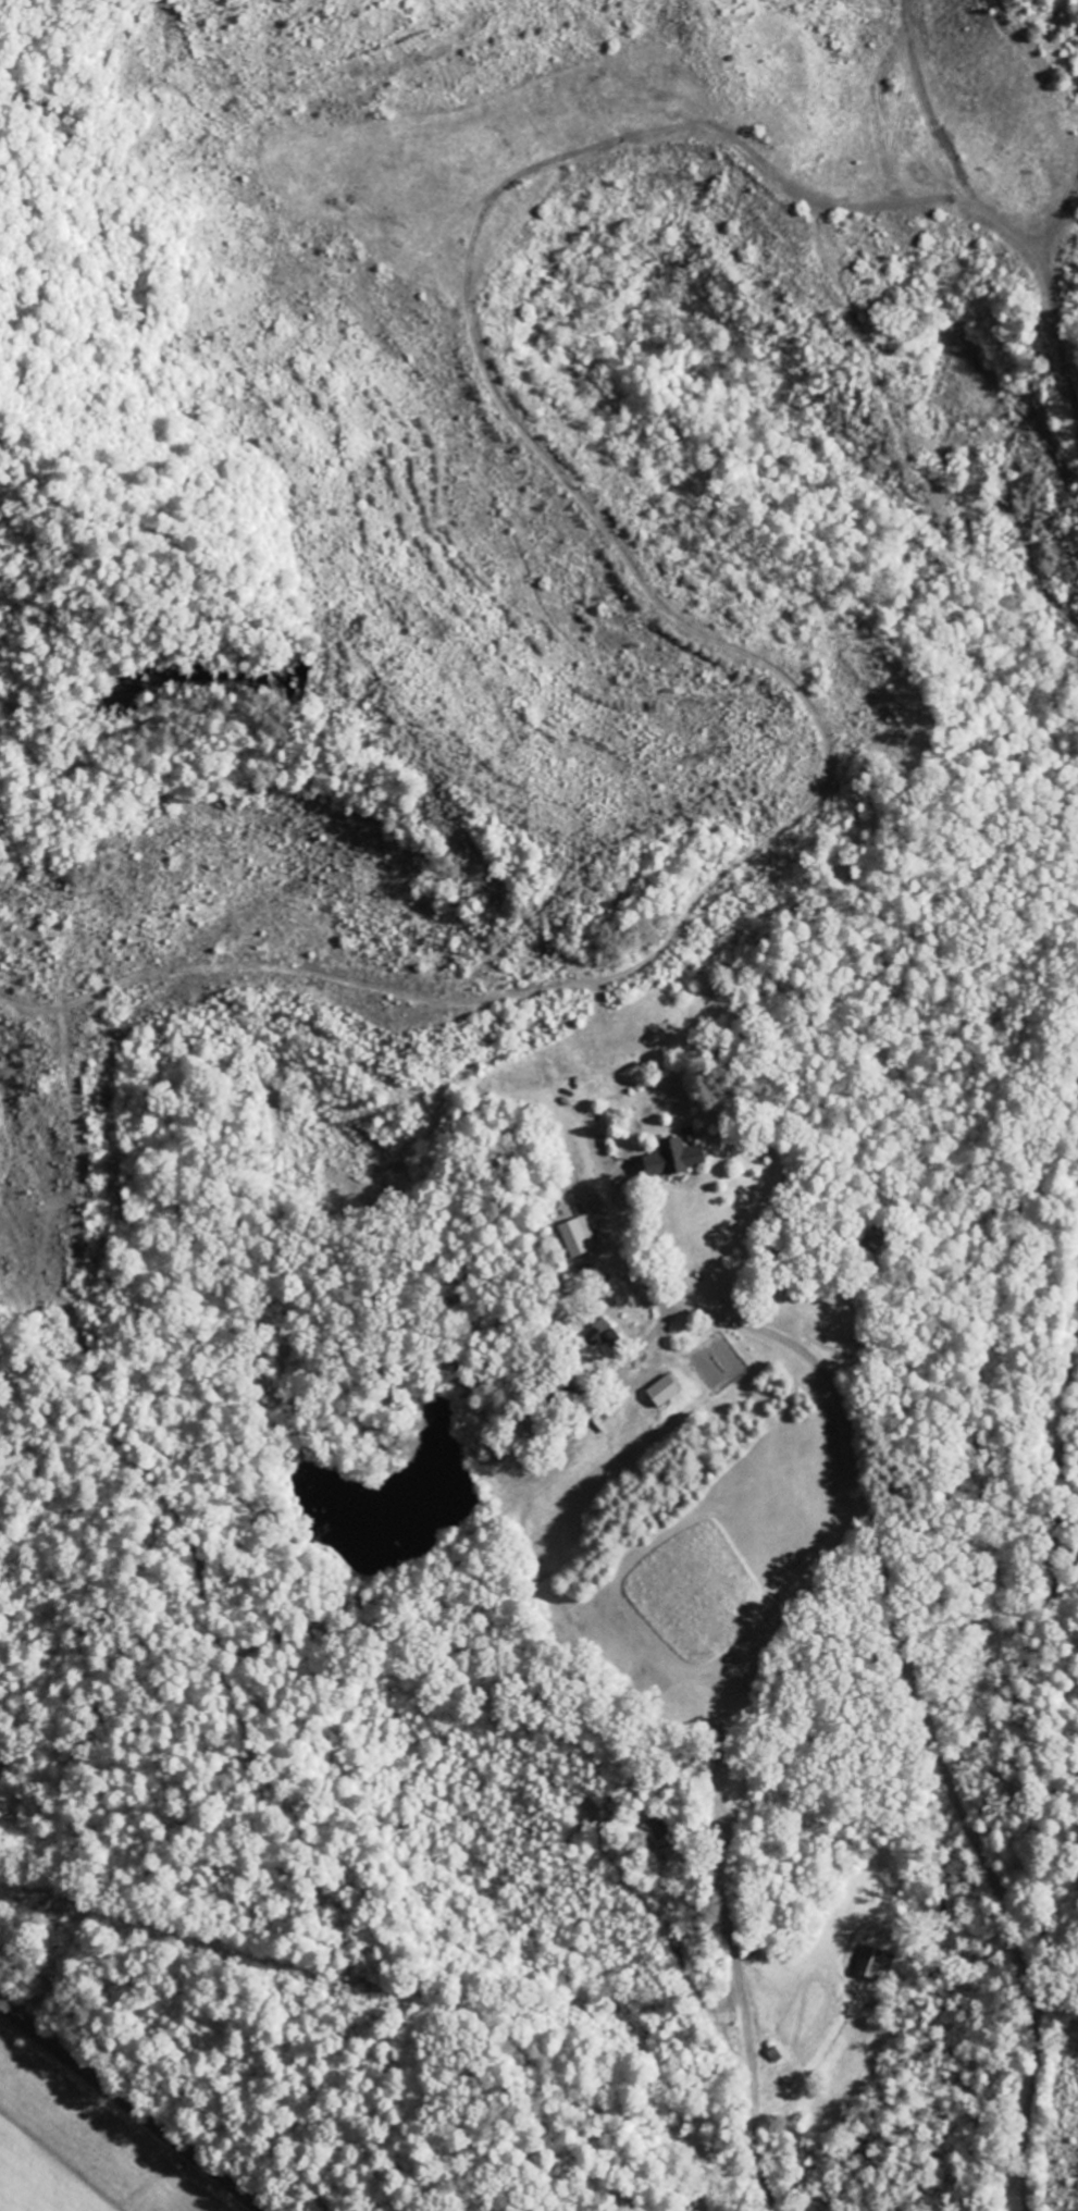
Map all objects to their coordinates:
building: (676, 1162)
building: (577, 1238)
building: (597, 1333)
building: (664, 1392)
building: (604, 1423)
building: (876, 1966)
road: (129, 2107)

